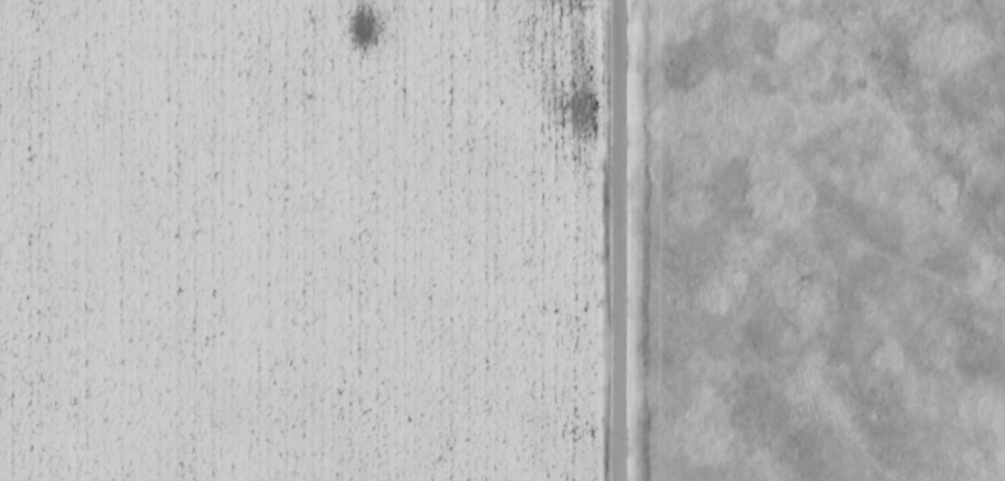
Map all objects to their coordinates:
road: (621, 240)

